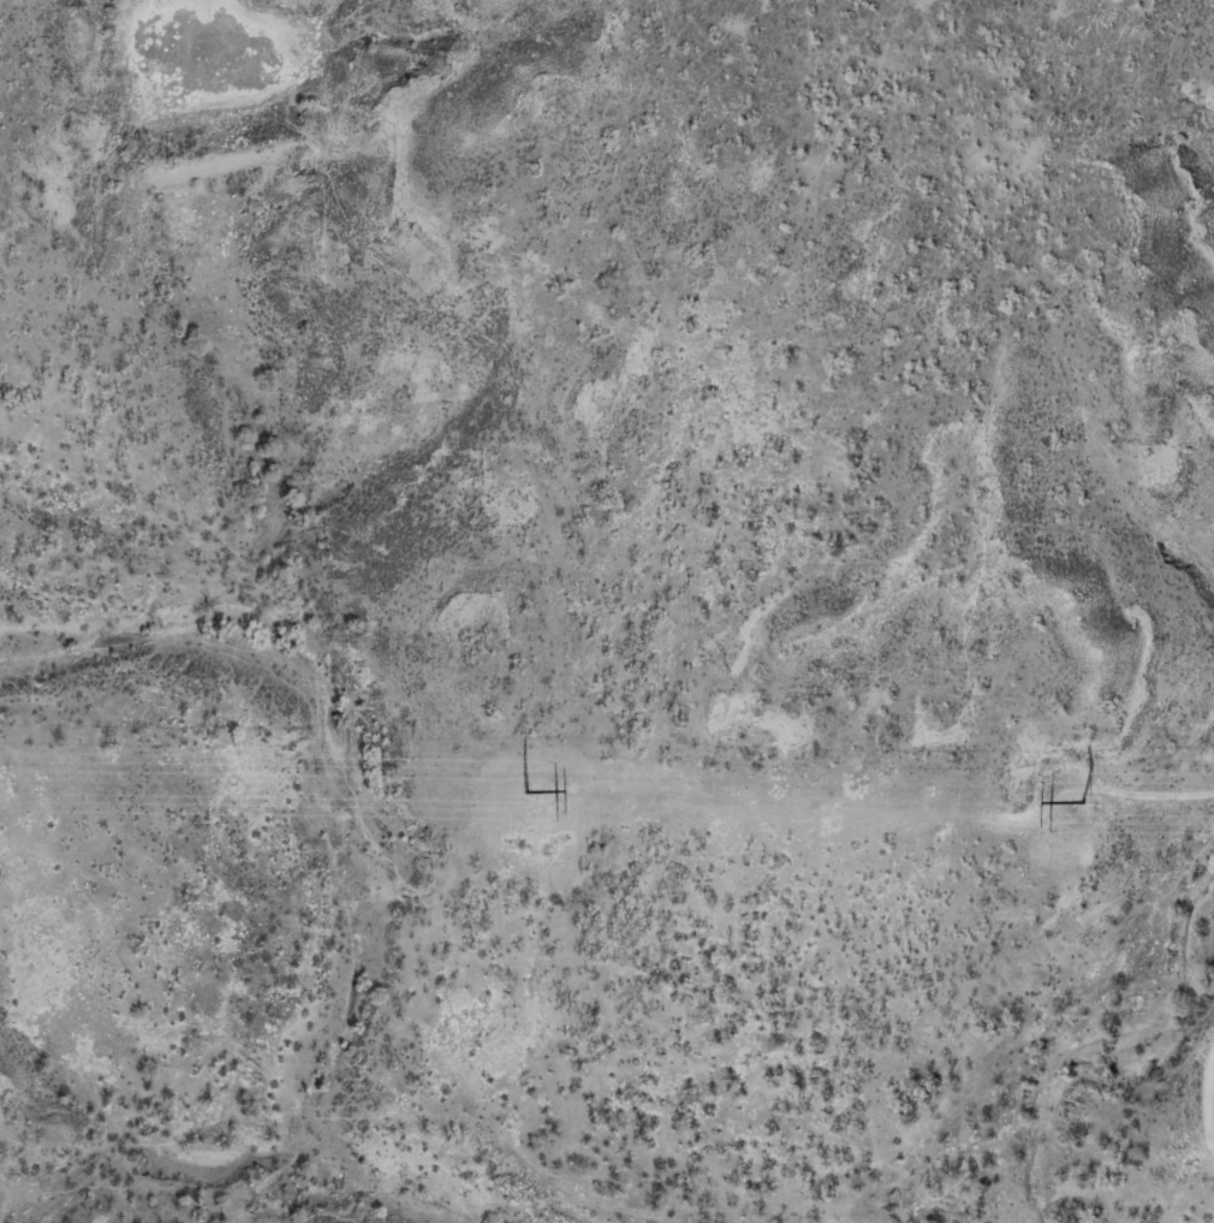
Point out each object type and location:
power tower: (529, 790)
power tower: (1082, 801)
road: (1203, 1086)

